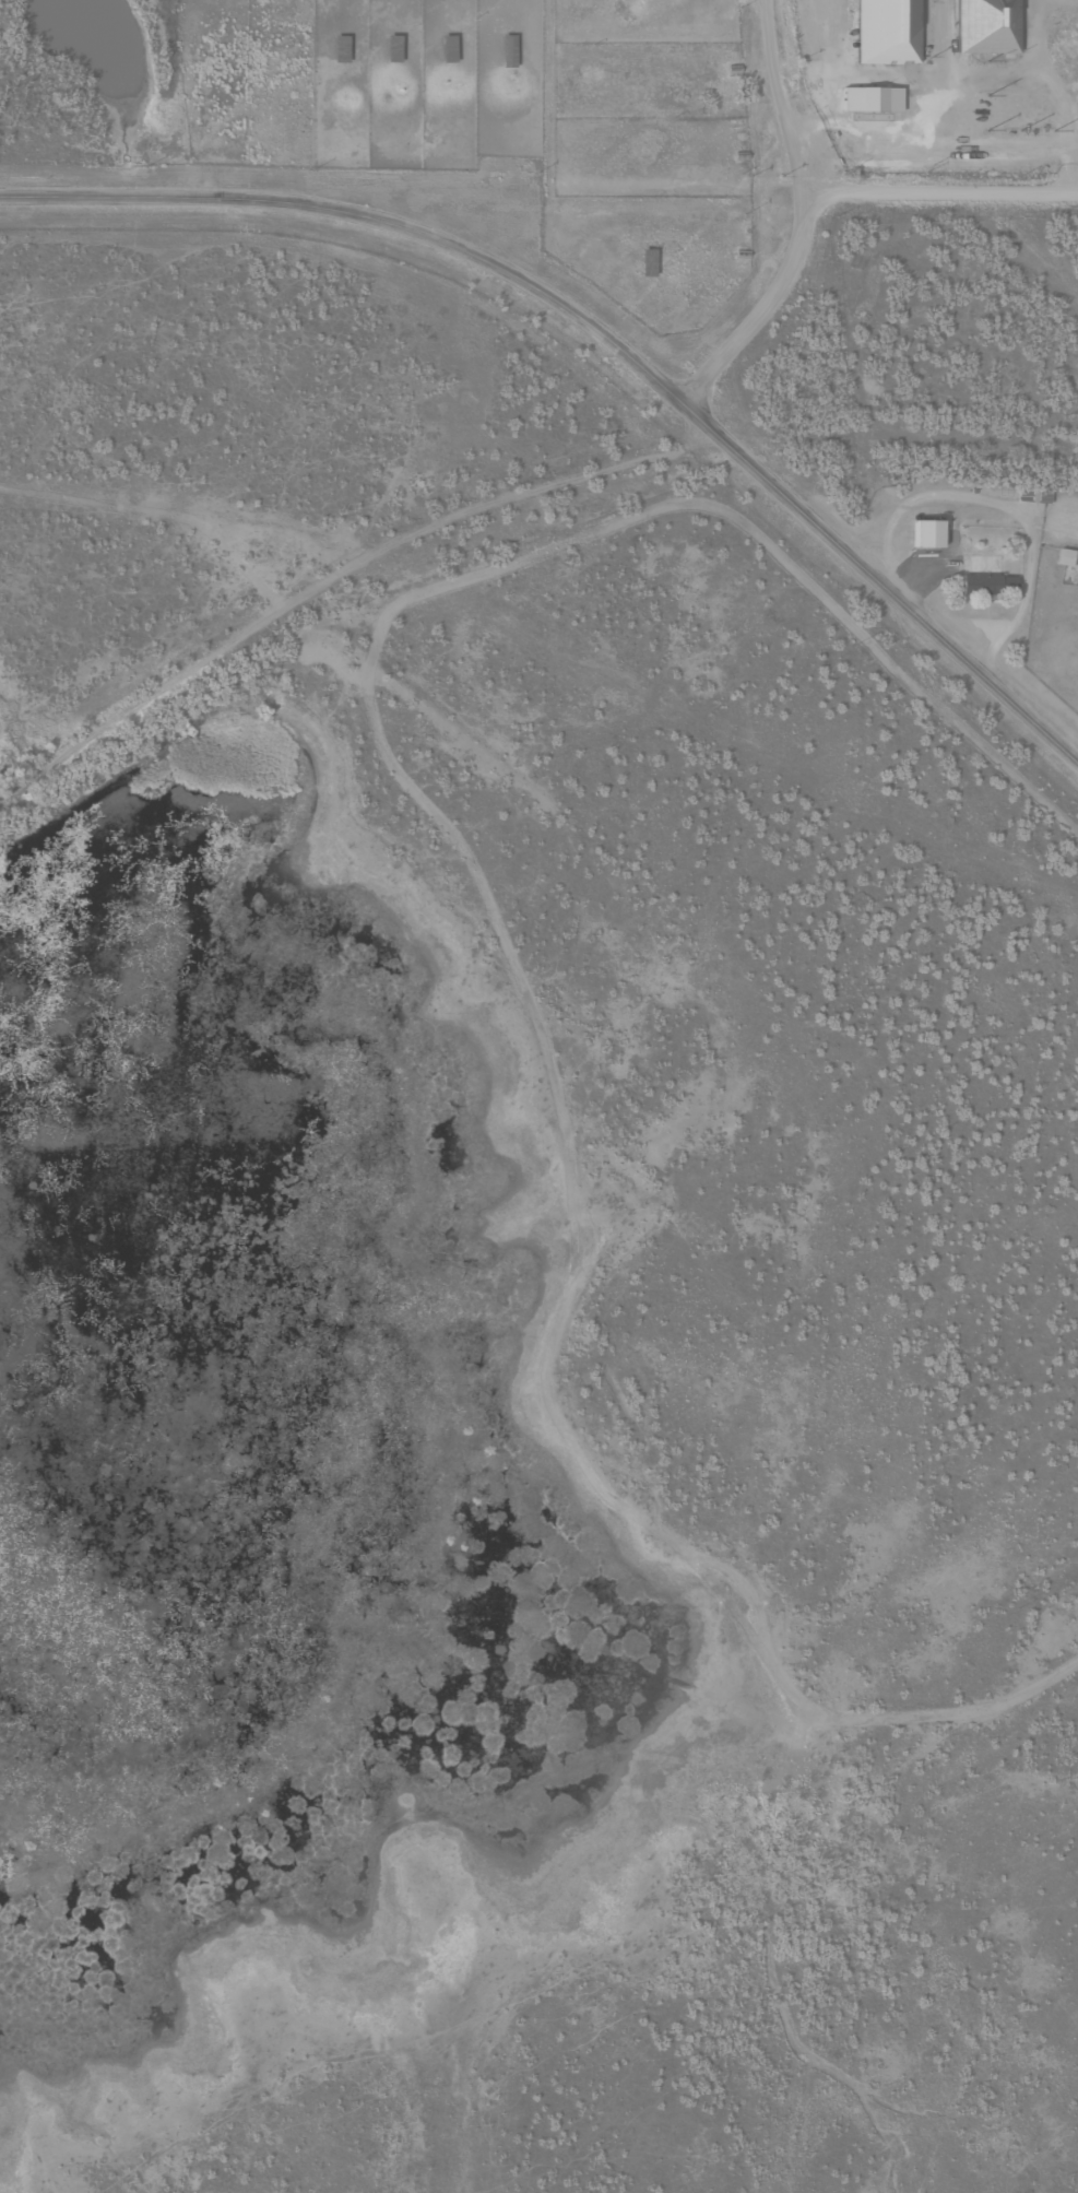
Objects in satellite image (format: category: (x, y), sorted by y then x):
building: (987, 31)
building: (887, 36)
building: (448, 57)
building: (872, 108)
road: (941, 189)
road: (805, 223)
road: (605, 338)
railway: (502, 529)
building: (926, 543)
building: (985, 591)

